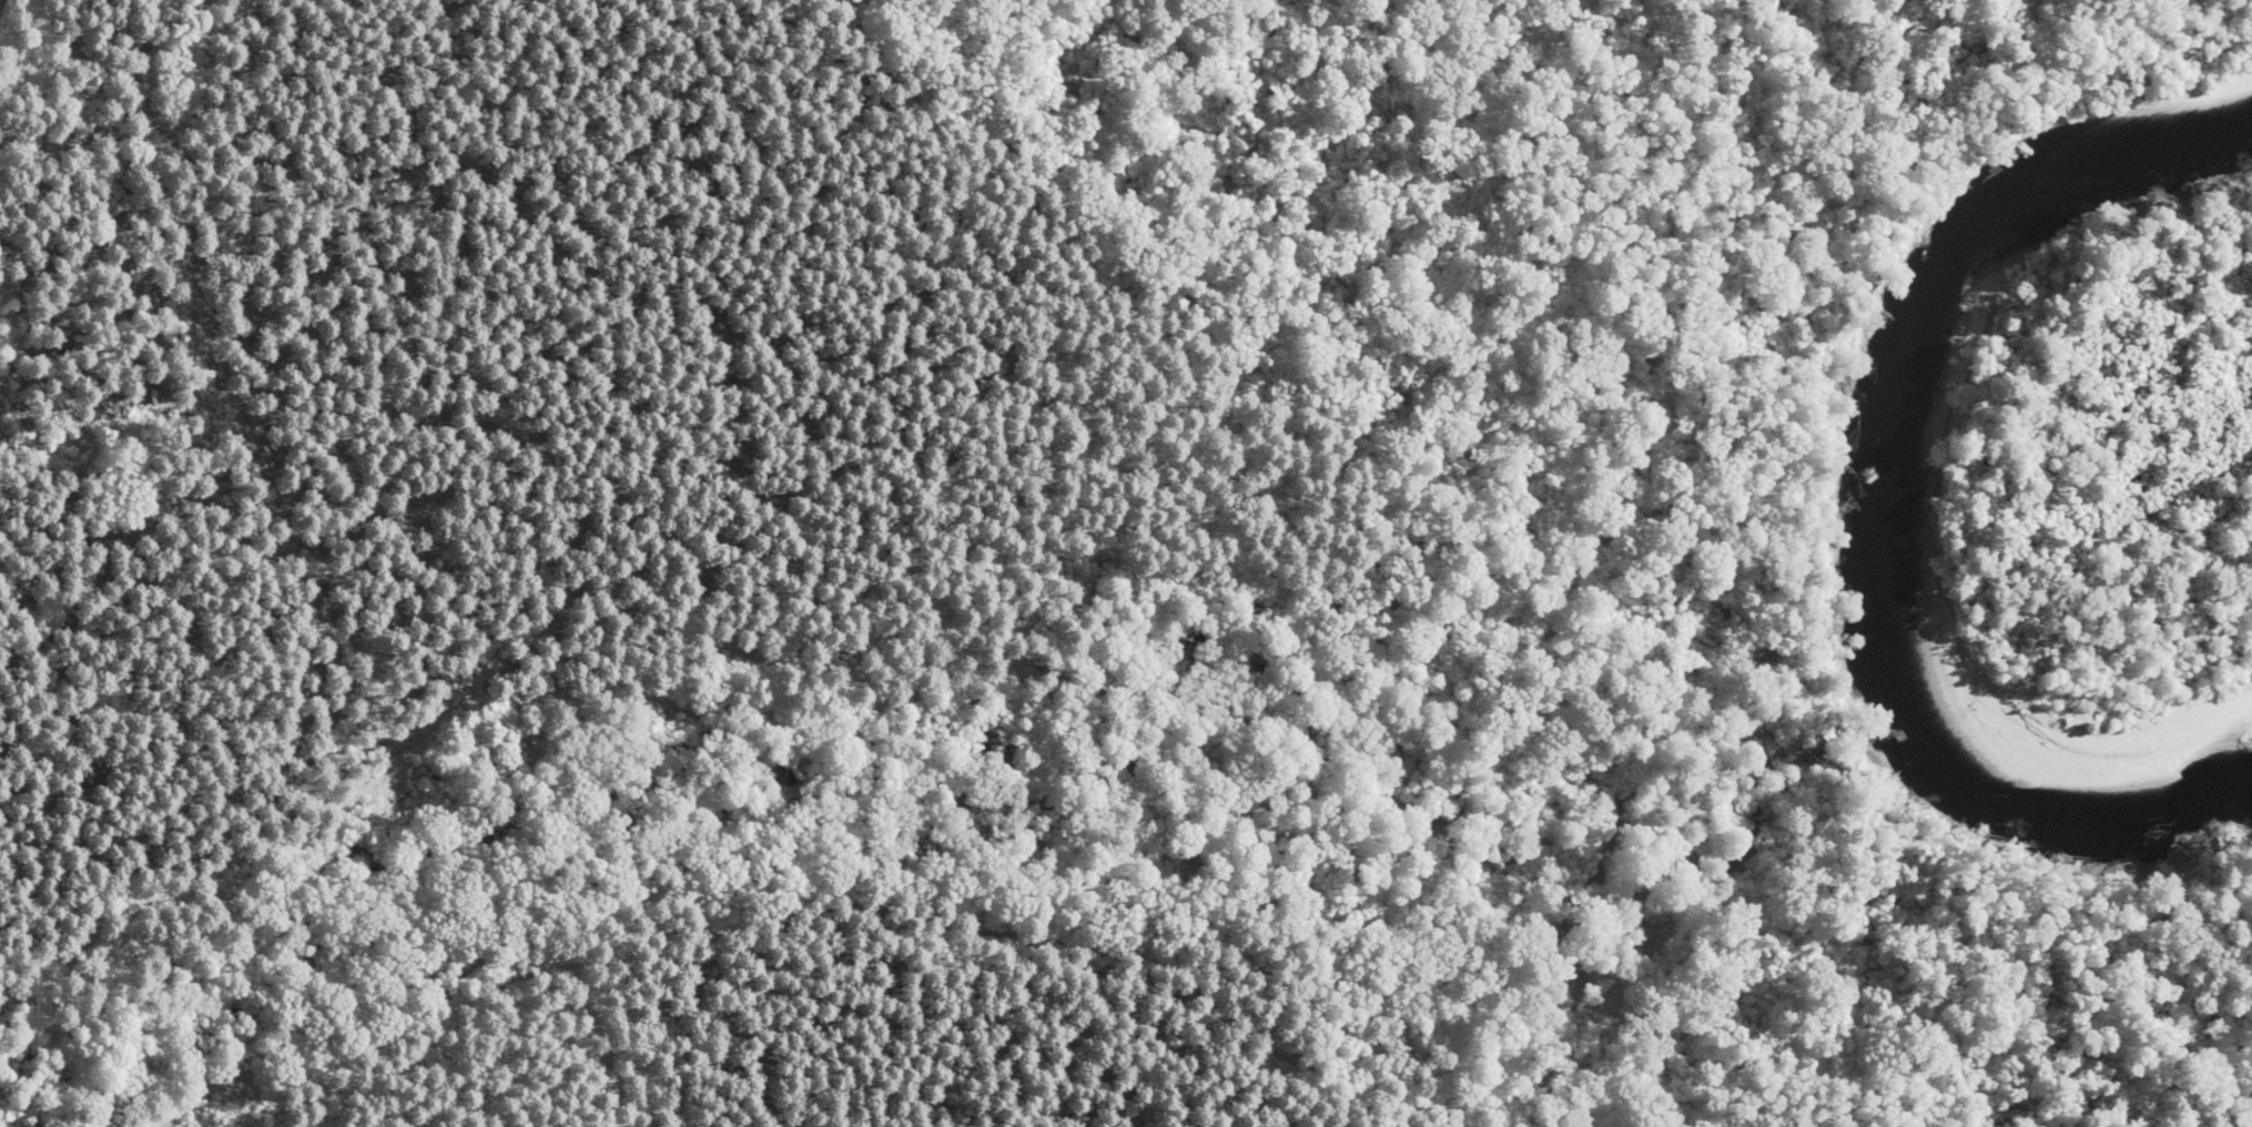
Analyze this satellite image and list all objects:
river: (1885, 483)

